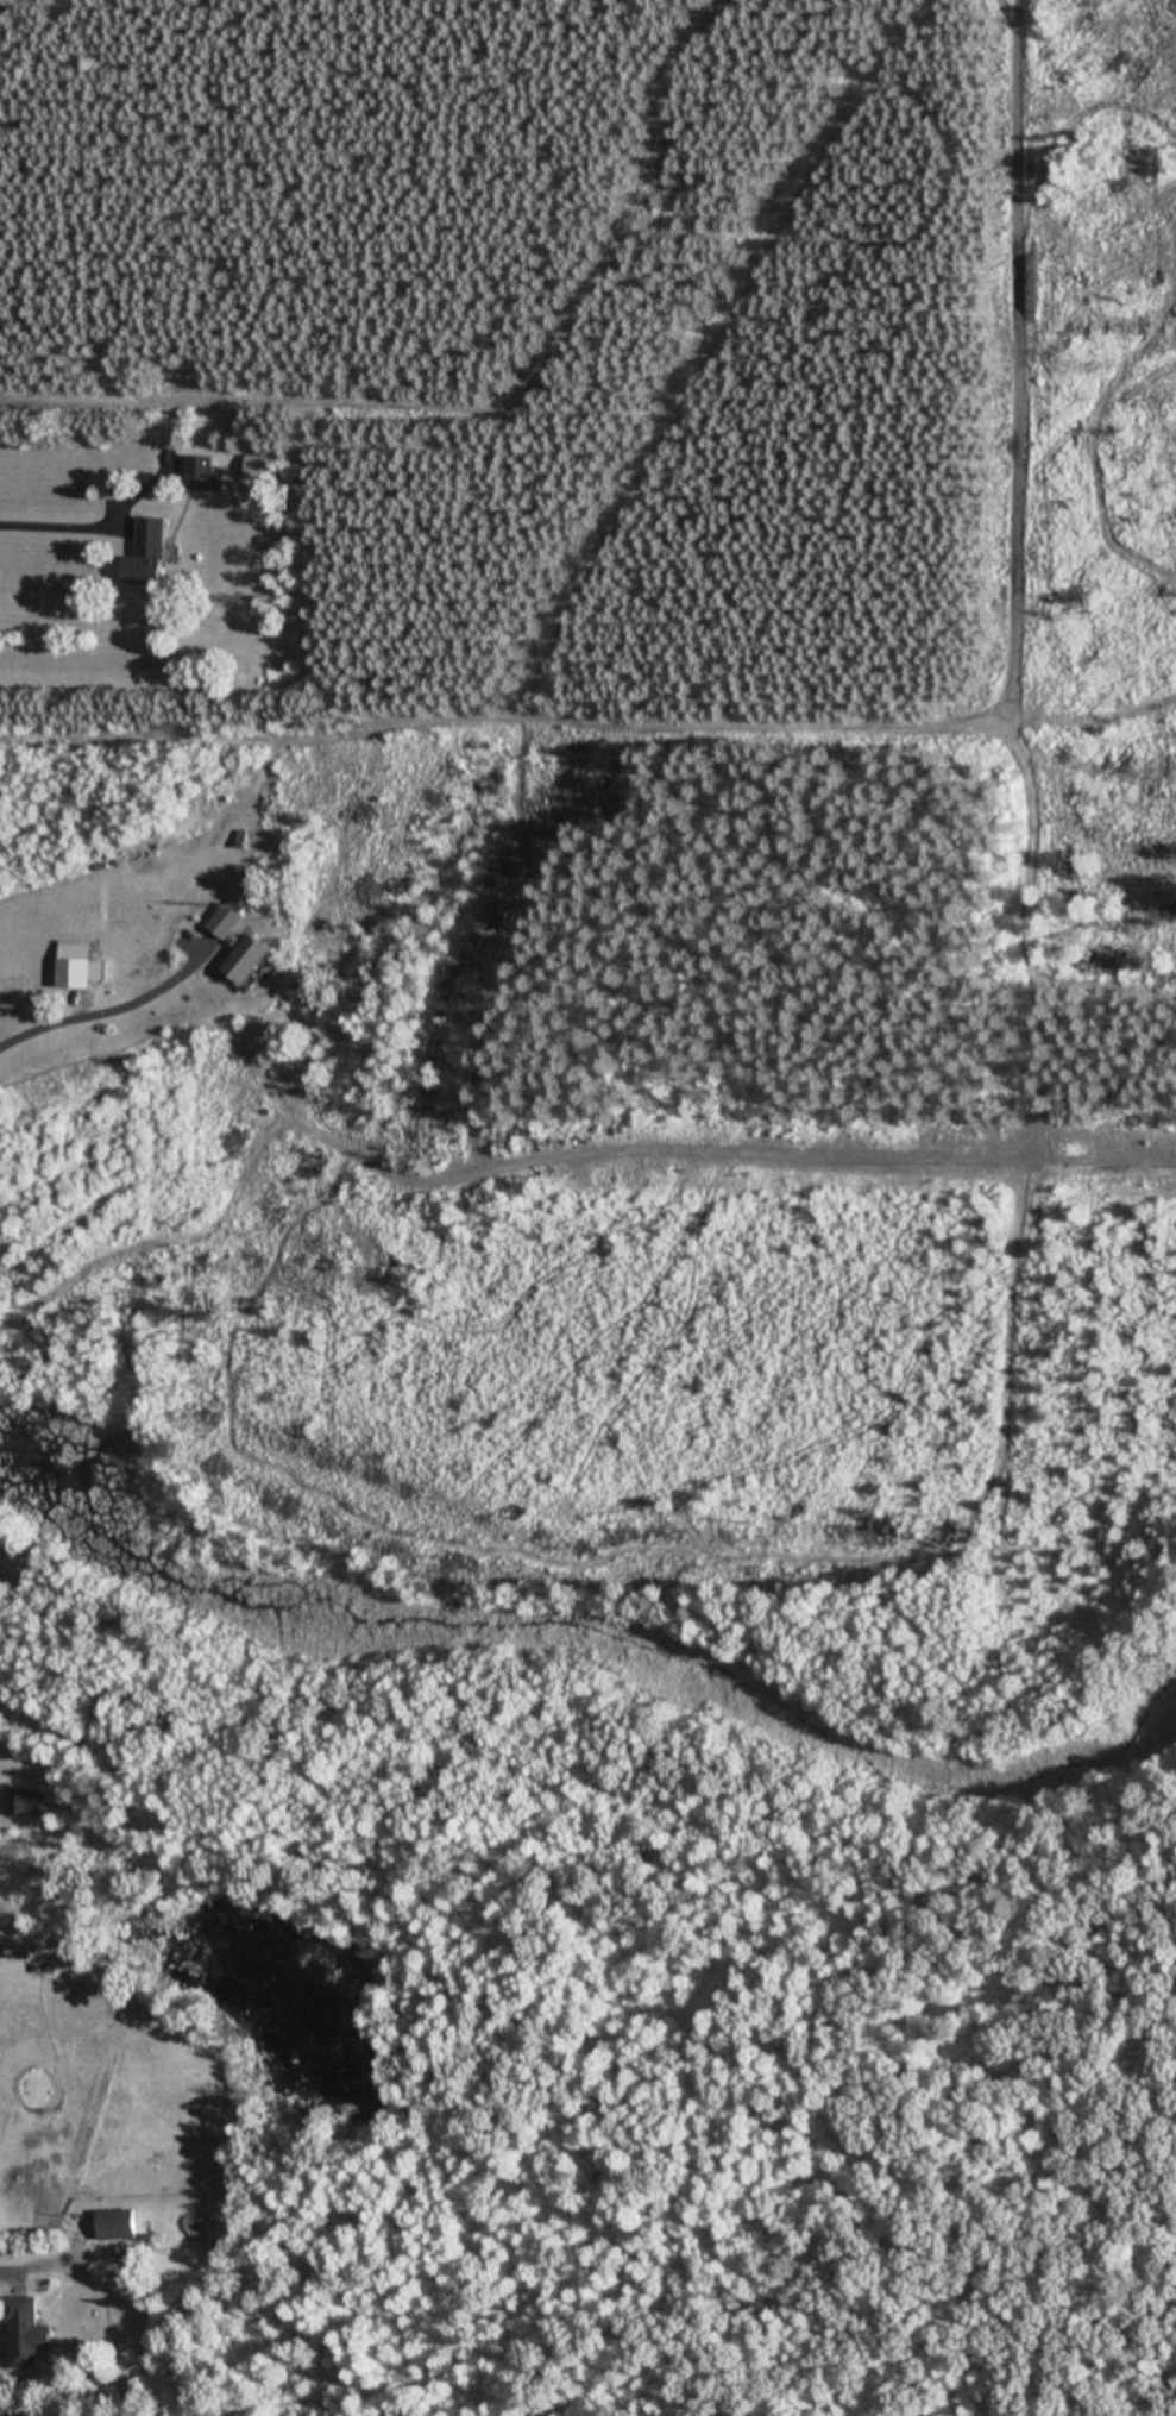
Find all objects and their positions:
building: (263, 465)
building: (200, 471)
road: (59, 526)
building: (150, 551)
building: (227, 920)
building: (250, 958)
building: (76, 962)
road: (101, 1006)
building: (14, 1950)
building: (118, 2224)
road: (57, 2258)
building: (23, 2330)

